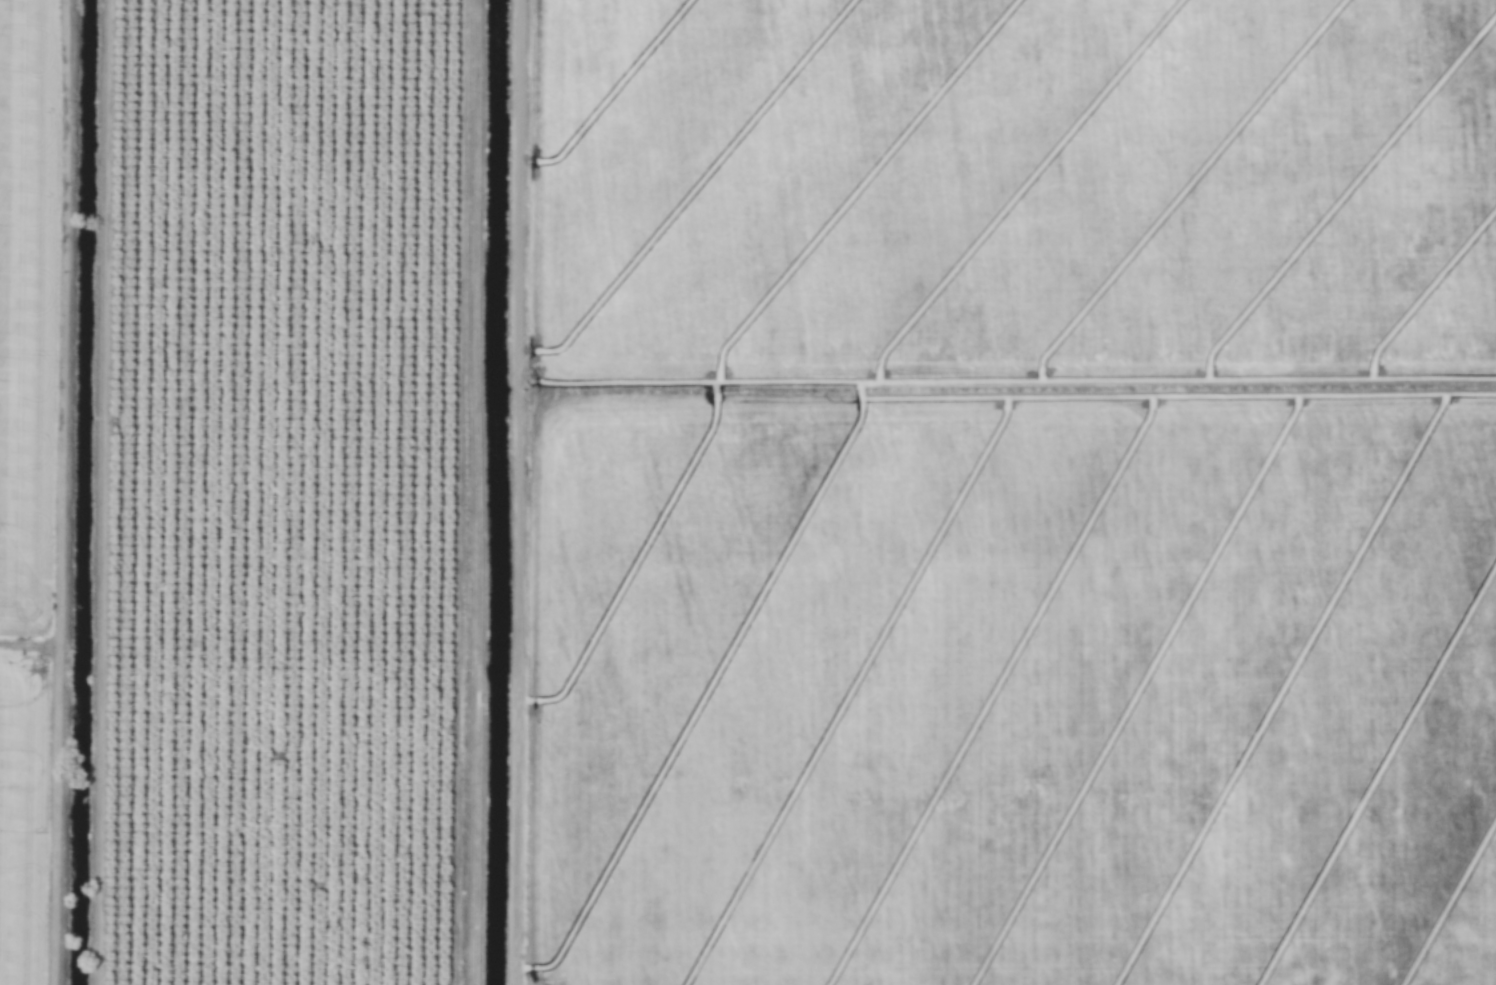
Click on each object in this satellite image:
road: (58, 492)

